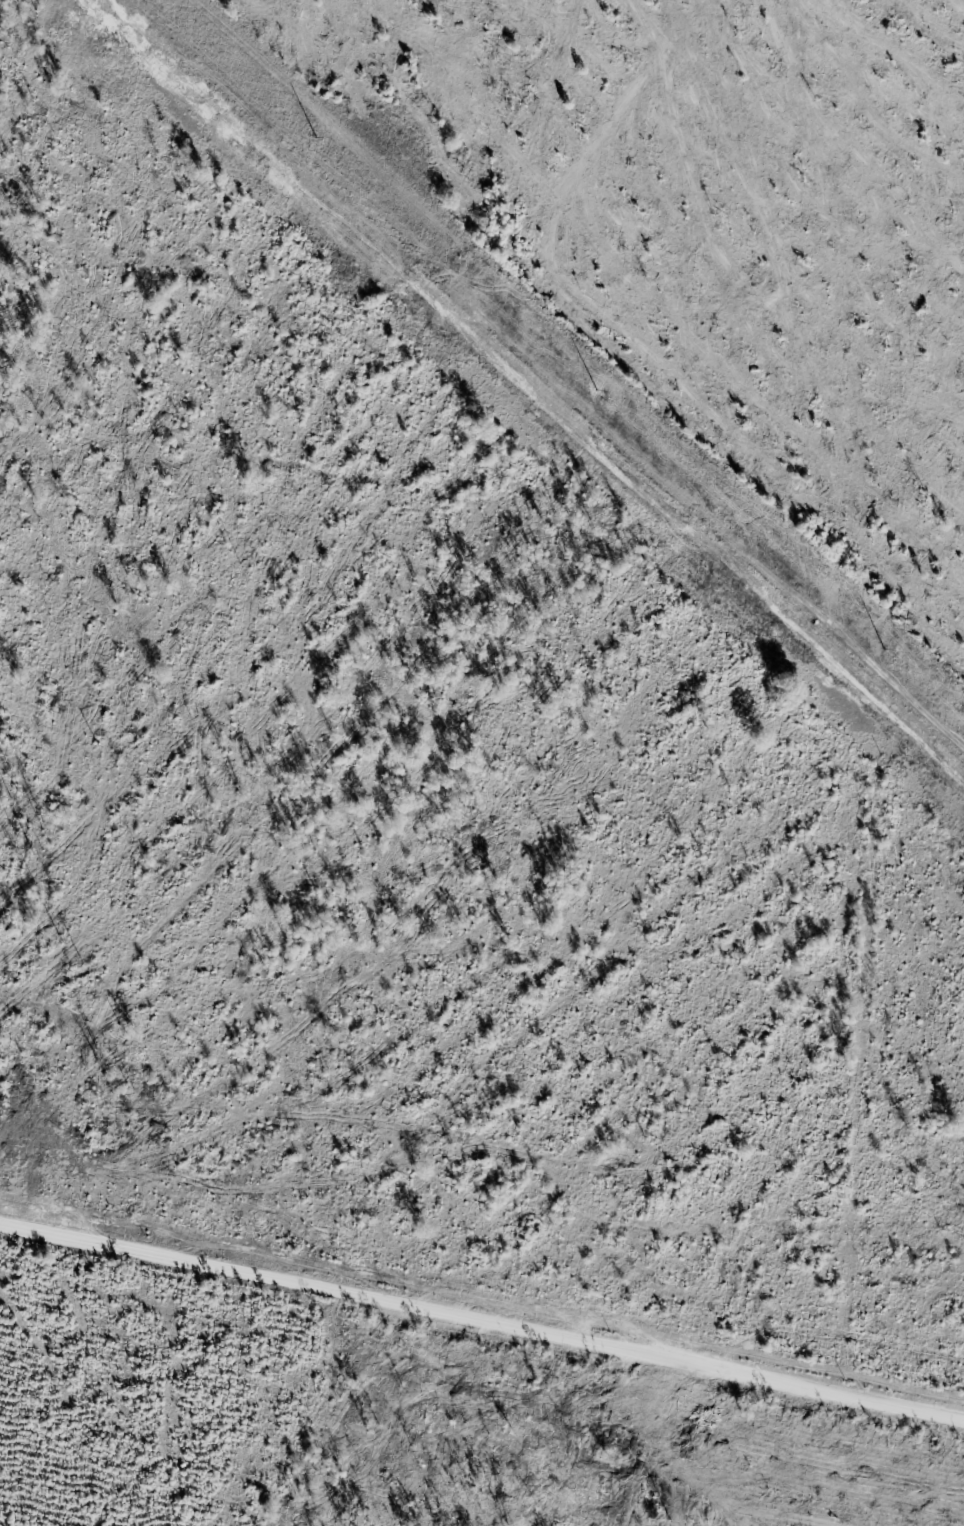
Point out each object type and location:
power tower: (325, 143)
power tower: (610, 398)
power tower: (896, 655)
road: (482, 1304)

